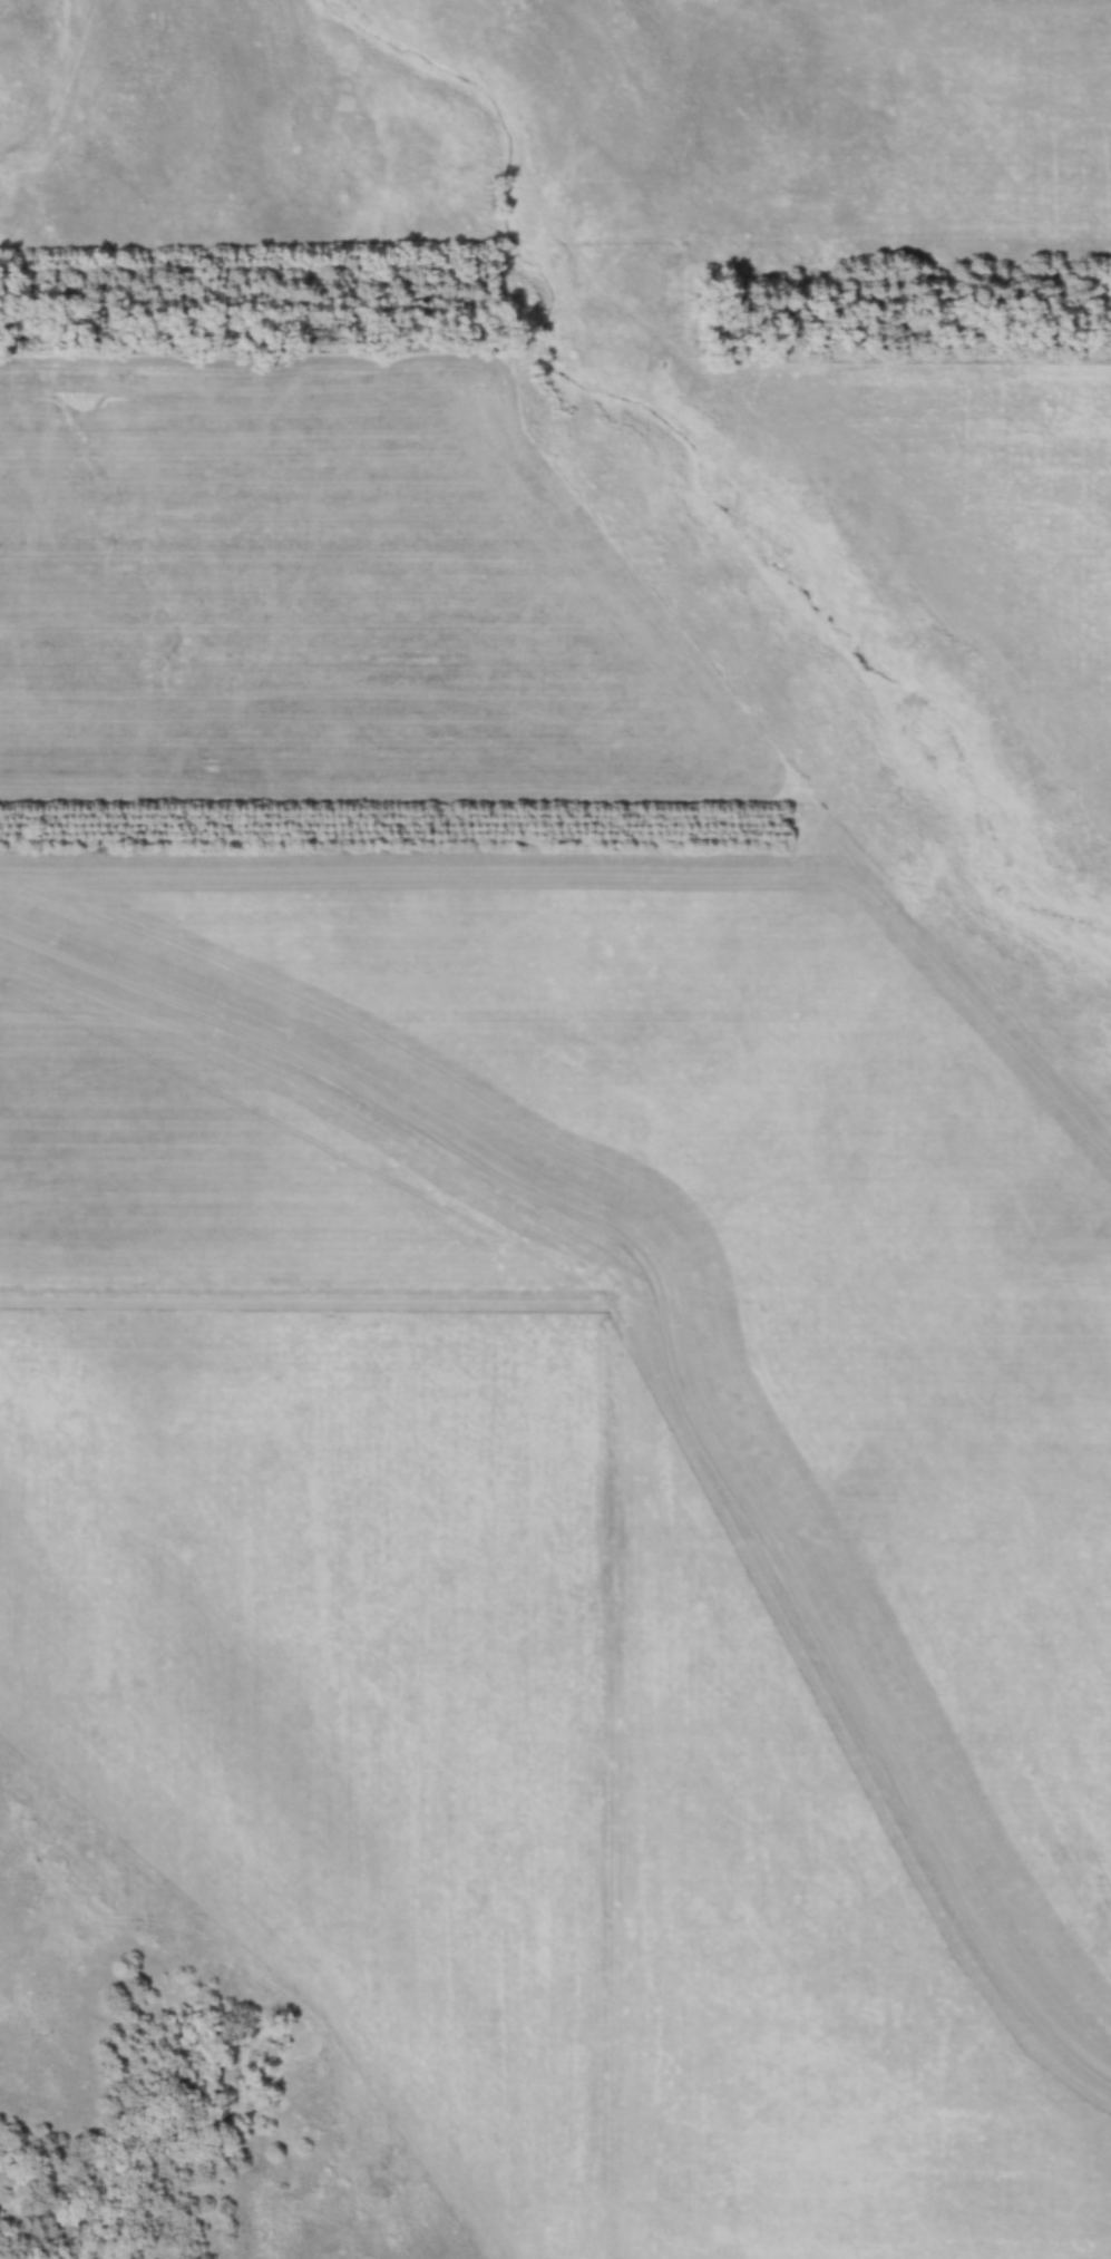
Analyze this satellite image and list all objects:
road: (675, 1376)

